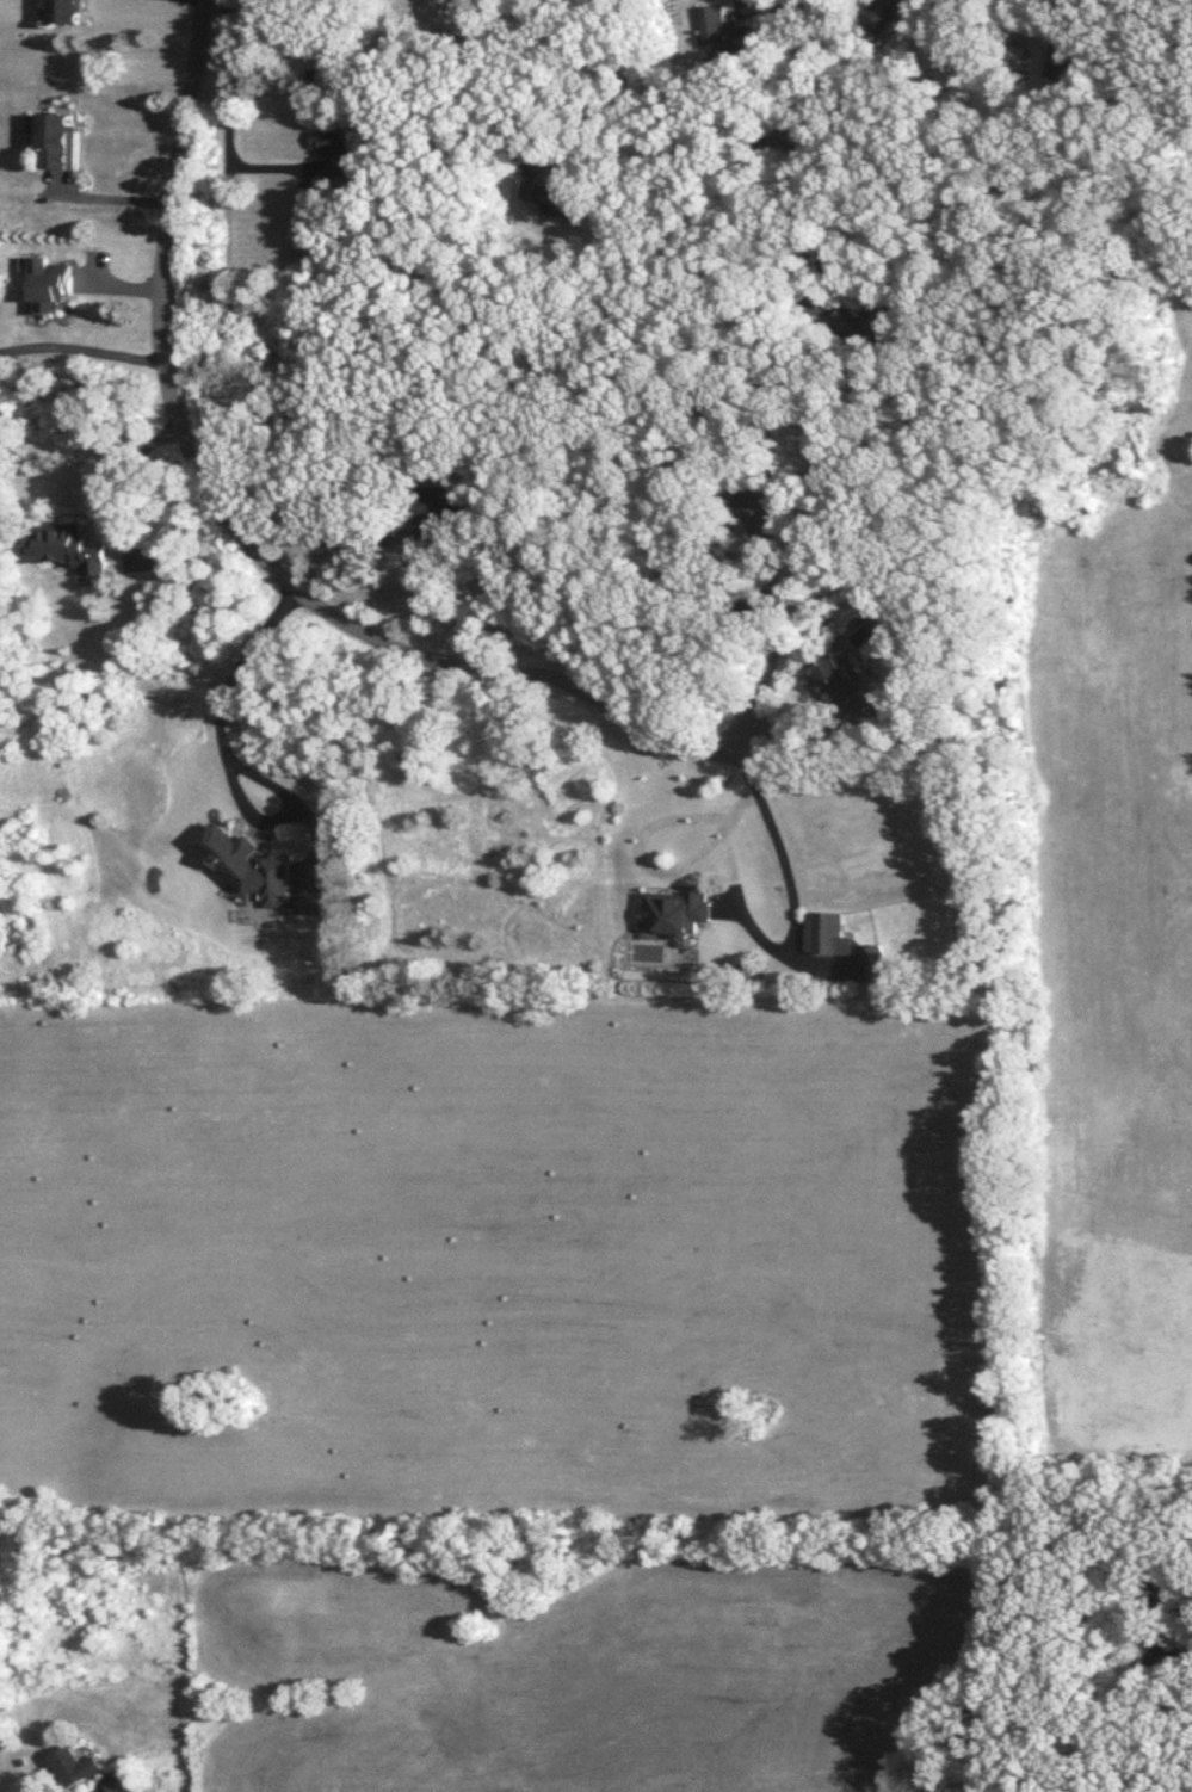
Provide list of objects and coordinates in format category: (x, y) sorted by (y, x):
building: (332, 1)
road: (1020, 4)
building: (69, 12)
building: (883, 13)
building: (724, 32)
building: (1058, 61)
road: (224, 126)
road: (745, 134)
building: (56, 141)
building: (340, 153)
road: (105, 198)
road: (811, 204)
building: (53, 290)
building: (875, 323)
road: (82, 347)
road: (116, 475)
road: (236, 530)
road: (315, 539)
building: (69, 549)
road: (772, 663)
building: (846, 685)
road: (791, 728)
road: (48, 750)
road: (223, 759)
road: (260, 780)
building: (247, 866)
road: (785, 877)
building: (681, 912)
building: (828, 935)
building: (877, 962)
building: (76, 1766)
building: (121, 1780)
road: (98, 1791)

